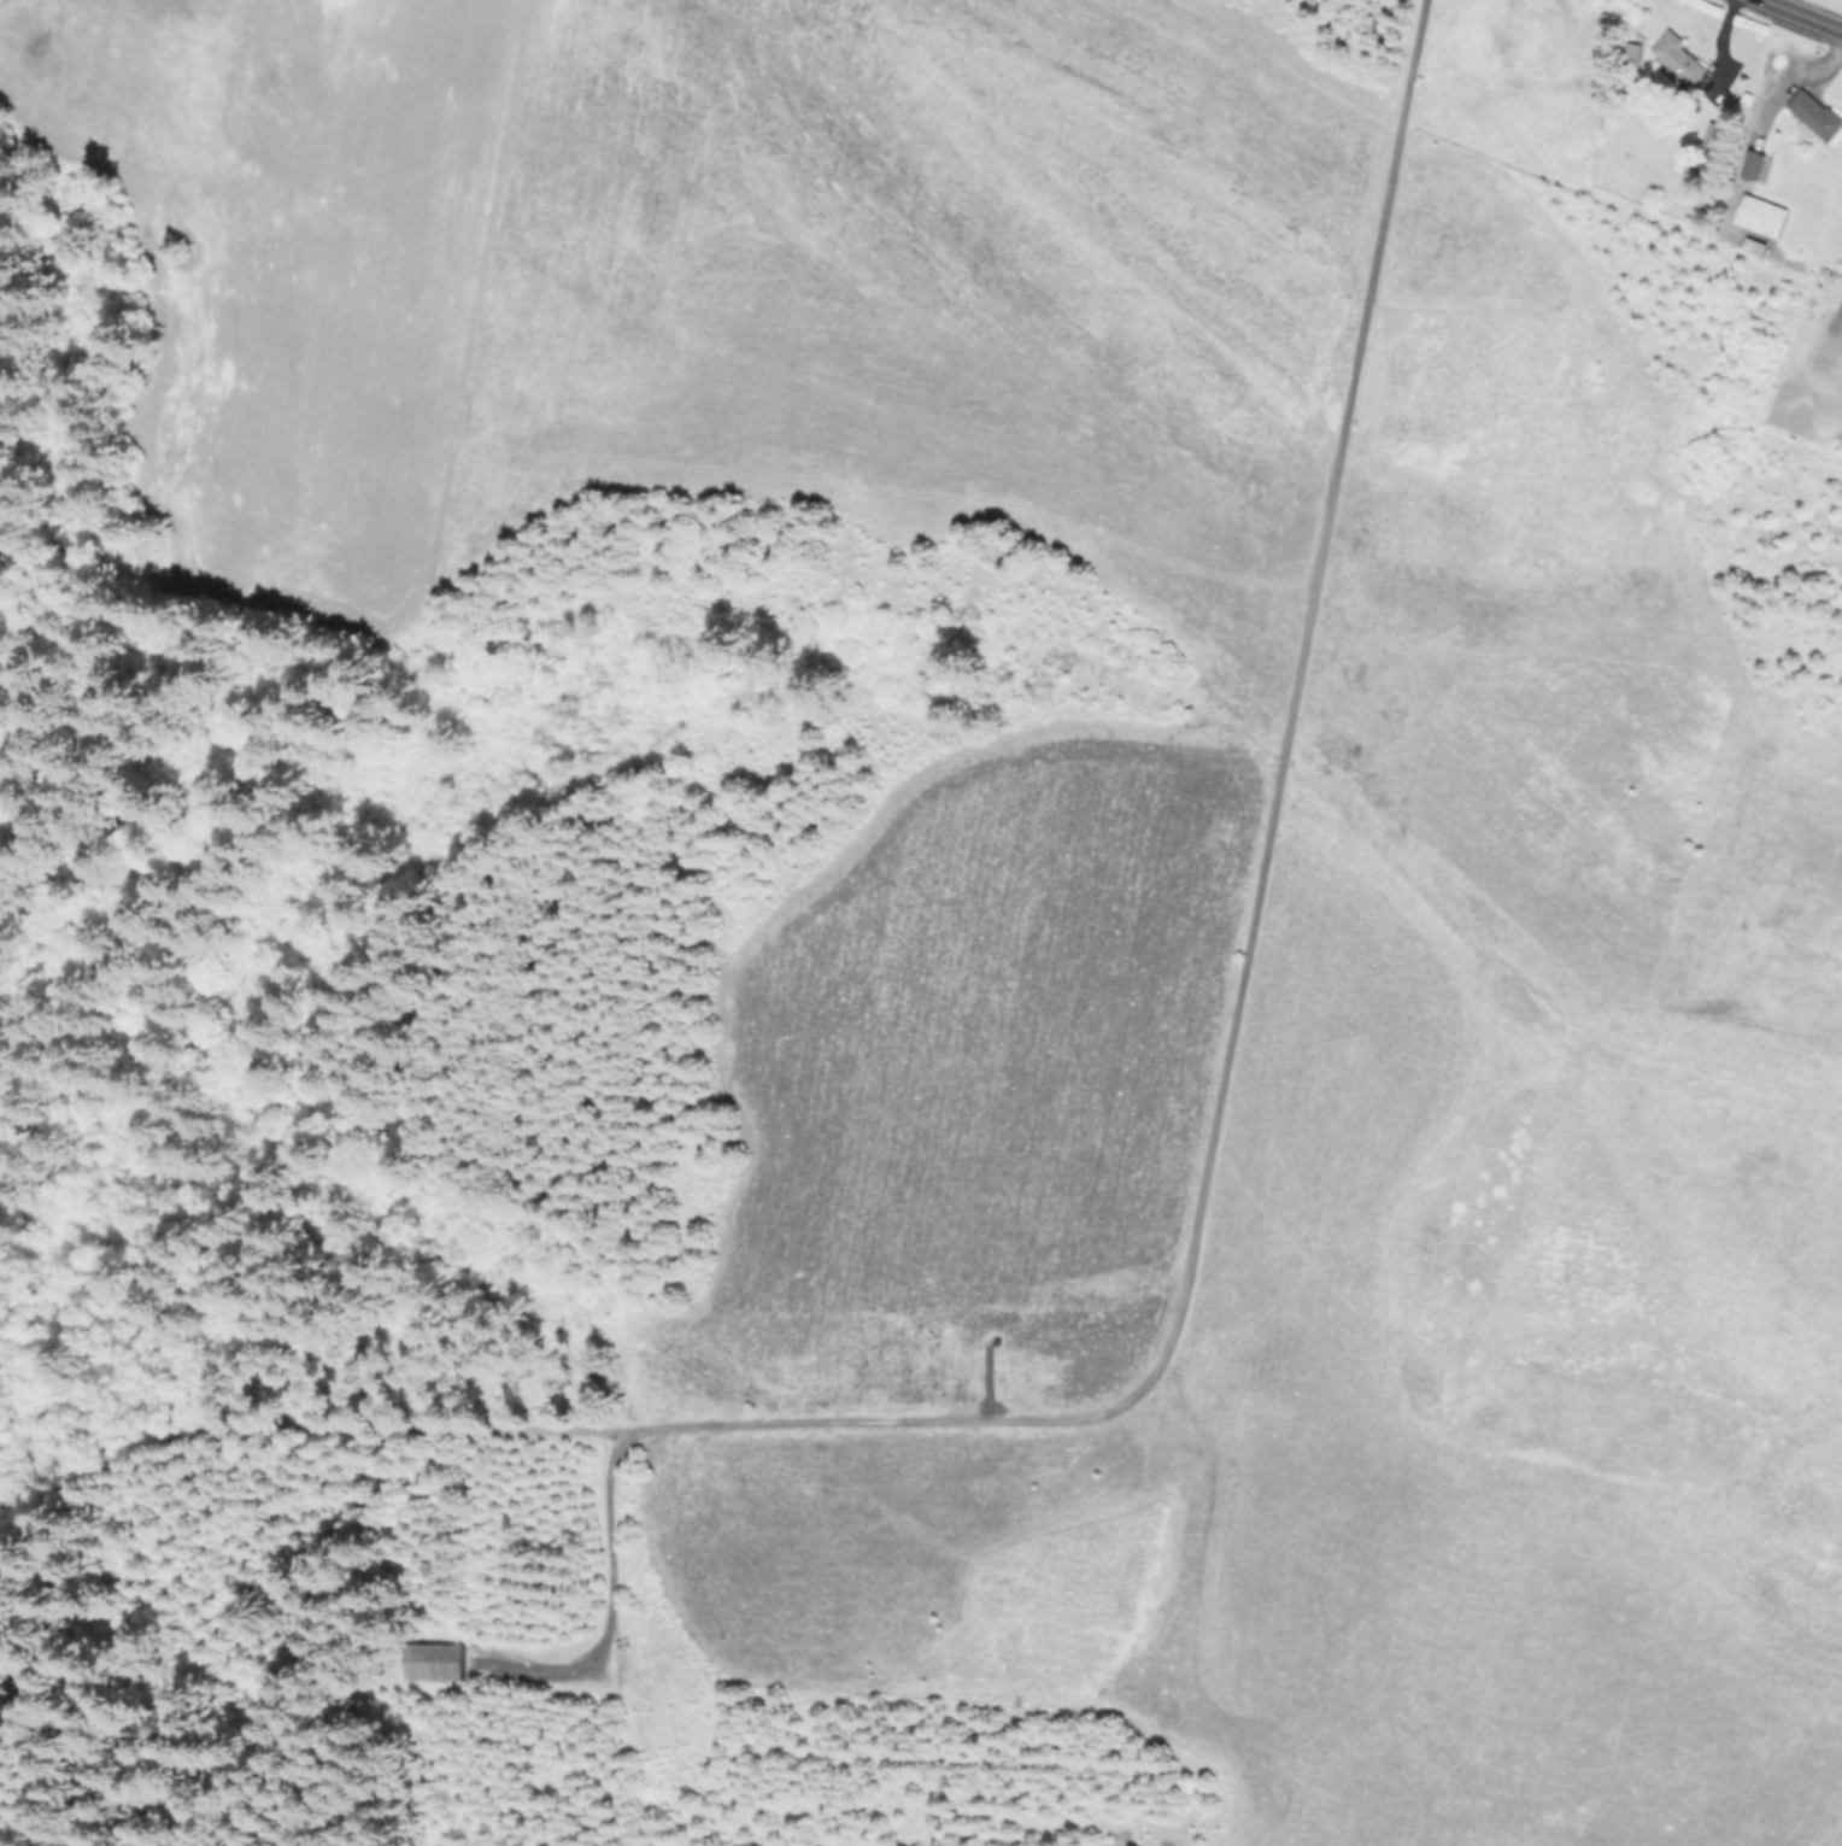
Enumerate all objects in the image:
road: (1803, 14)
building: (1678, 58)
building: (1815, 117)
building: (1714, 140)
building: (1756, 166)
building: (1762, 216)
road: (1829, 385)
road: (1249, 951)
building: (1019, 1366)
road: (610, 1596)
building: (430, 1657)

